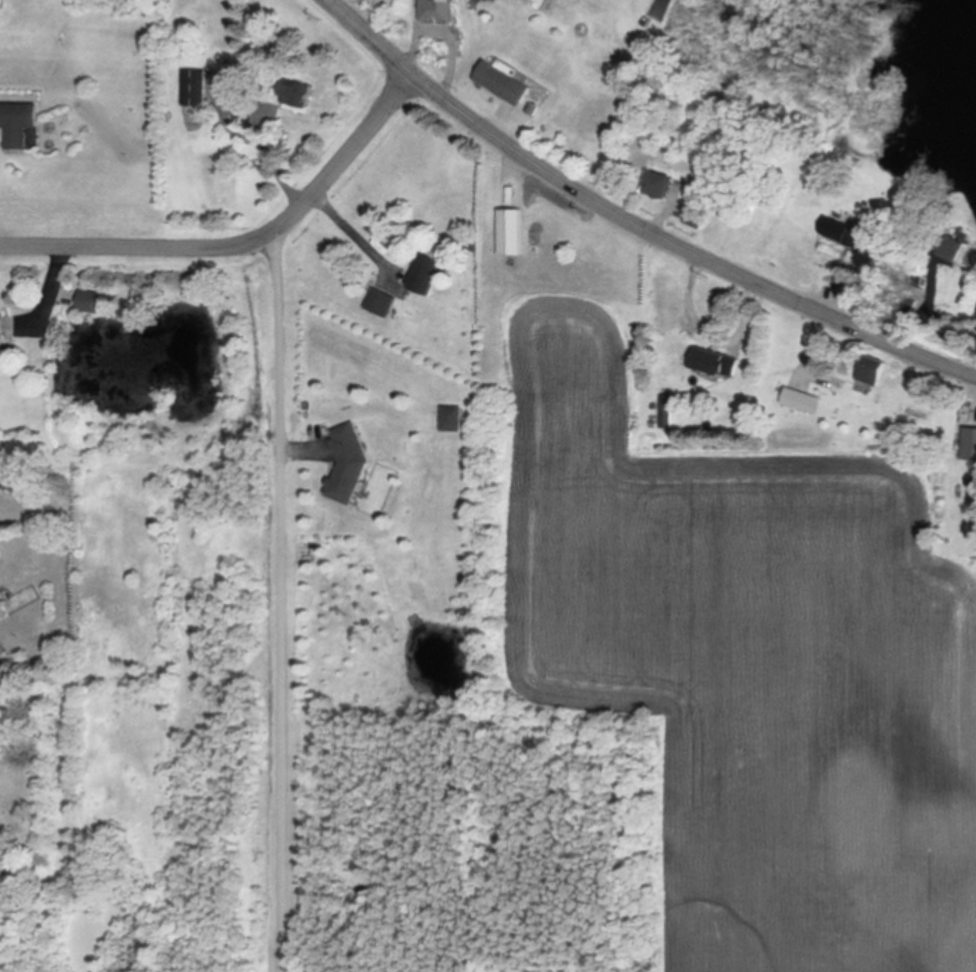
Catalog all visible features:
building: (437, 12)
road: (447, 34)
building: (503, 85)
building: (195, 90)
building: (299, 95)
road: (257, 106)
building: (20, 124)
road: (505, 127)
road: (516, 170)
building: (659, 186)
road: (661, 218)
building: (696, 218)
road: (633, 221)
road: (354, 232)
building: (513, 234)
building: (841, 234)
road: (243, 244)
building: (428, 276)
road: (53, 283)
building: (852, 283)
road: (692, 298)
building: (91, 303)
building: (380, 304)
building: (2, 327)
road: (816, 339)
building: (715, 364)
building: (876, 372)
building: (802, 402)
building: (666, 413)
building: (451, 420)
building: (969, 446)
road: (303, 451)
building: (350, 465)
building: (973, 491)
road: (281, 603)
building: (3, 613)

